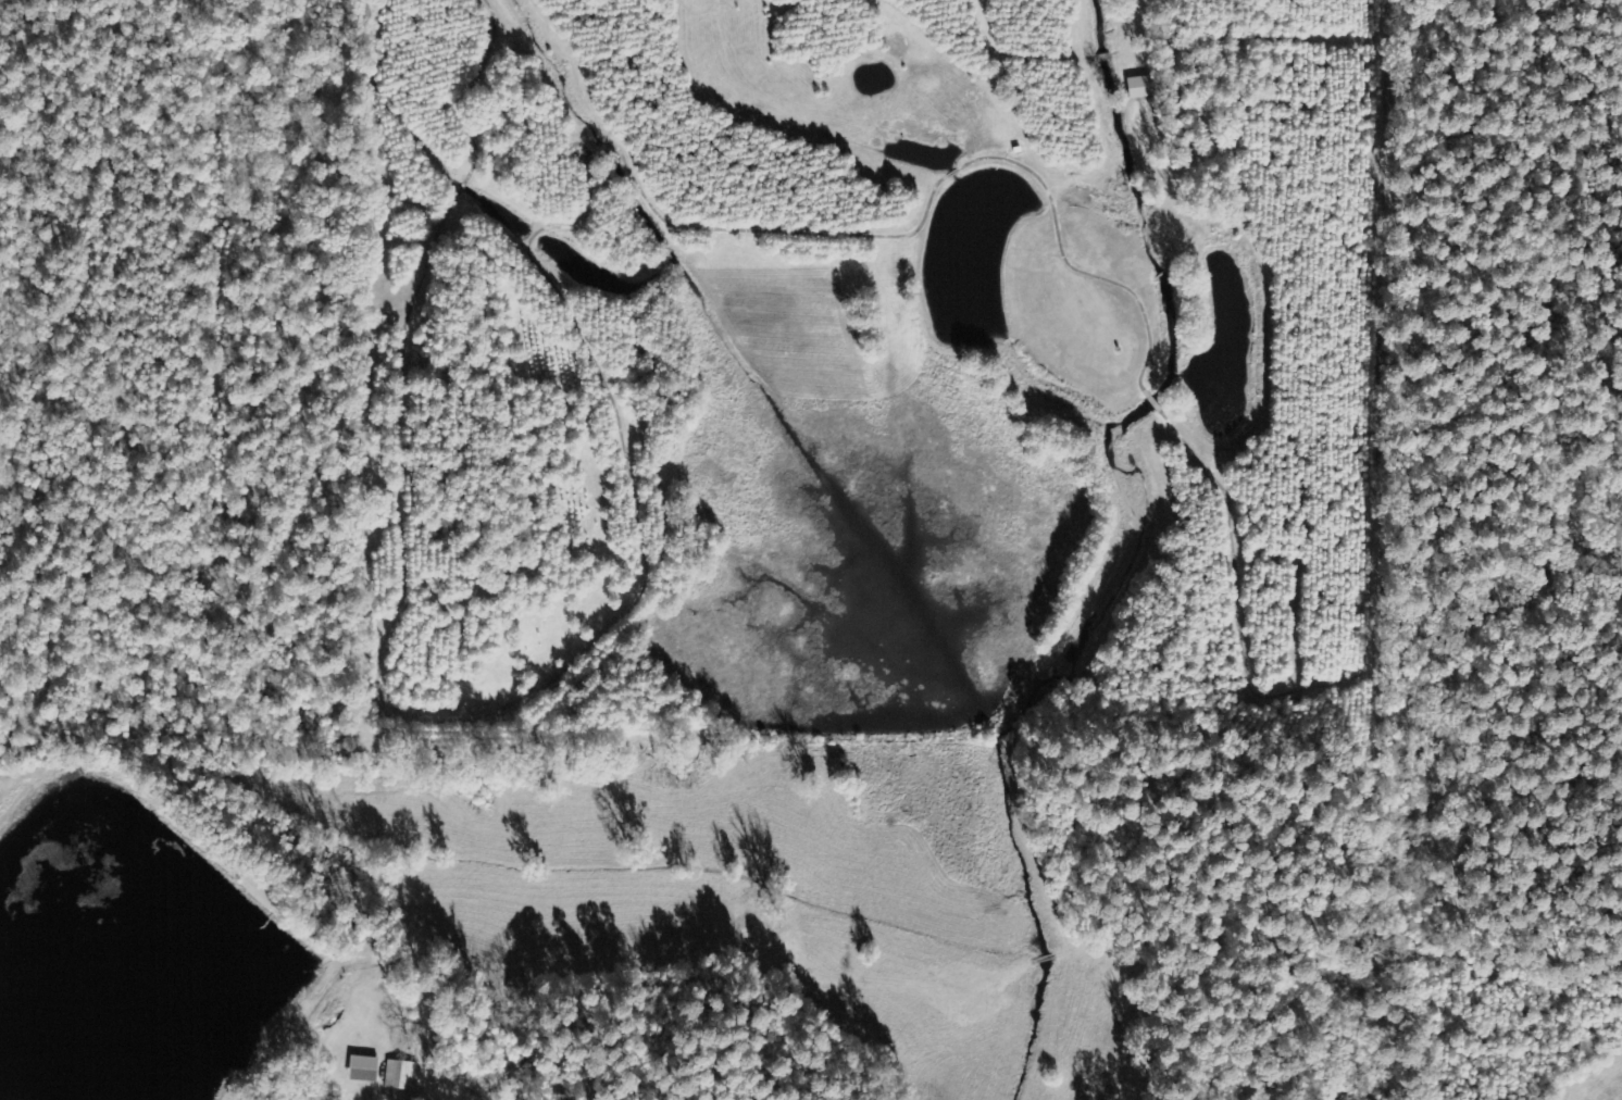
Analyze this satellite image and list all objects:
building: (1140, 88)
building: (364, 1068)

